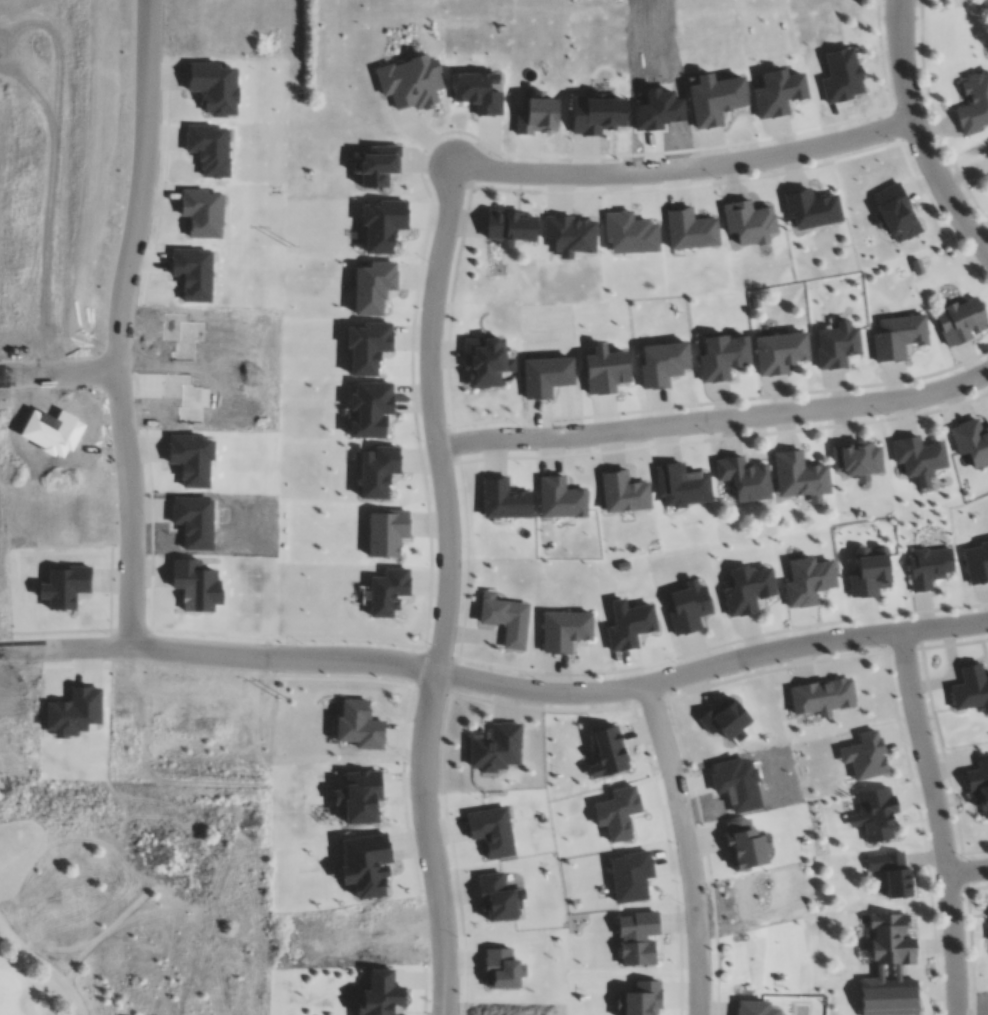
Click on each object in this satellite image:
building: (842, 75)
building: (410, 81)
building: (213, 85)
building: (476, 90)
building: (778, 91)
building: (715, 97)
building: (972, 102)
building: (657, 109)
building: (535, 113)
building: (595, 113)
road: (922, 132)
building: (1, 138)
building: (209, 148)
building: (374, 163)
road: (689, 168)
building: (810, 207)
building: (202, 211)
building: (896, 211)
building: (748, 221)
building: (382, 223)
building: (509, 226)
building: (690, 229)
building: (629, 232)
building: (568, 234)
power tower: (290, 247)
building: (193, 272)
building: (372, 286)
building: (962, 320)
road: (121, 324)
building: (181, 336)
building: (898, 336)
building: (835, 345)
building: (366, 346)
building: (779, 352)
building: (722, 357)
building: (485, 361)
building: (663, 364)
building: (605, 370)
building: (544, 376)
road: (60, 380)
building: (184, 395)
building: (369, 409)
road: (715, 420)
building: (51, 432)
building: (971, 441)
building: (918, 457)
building: (191, 459)
building: (858, 460)
building: (377, 469)
building: (801, 477)
building: (745, 478)
building: (681, 485)
building: (621, 492)
building: (559, 498)
building: (503, 500)
building: (194, 522)
building: (386, 532)
building: (976, 563)
building: (928, 566)
building: (870, 573)
building: (808, 582)
building: (196, 585)
building: (65, 587)
building: (749, 590)
building: (387, 591)
road: (449, 591)
building: (688, 608)
building: (504, 619)
building: (629, 626)
building: (563, 631)
road: (200, 651)
road: (65, 652)
road: (630, 690)
building: (970, 690)
power tower: (281, 694)
building: (822, 697)
building: (73, 712)
building: (725, 720)
building: (358, 726)
building: (495, 749)
building: (607, 753)
building: (865, 757)
building: (735, 785)
building: (978, 787)
building: (358, 798)
building: (876, 814)
building: (617, 815)
road: (942, 824)
building: (491, 832)
building: (746, 846)
road: (686, 849)
building: (364, 866)
building: (892, 873)
road: (970, 876)
building: (630, 877)
building: (497, 899)
park: (133, 909)
building: (377, 936)
building: (637, 939)
building: (888, 965)
building: (501, 970)
park: (8, 996)
building: (381, 996)
building: (643, 999)
building: (754, 1009)

